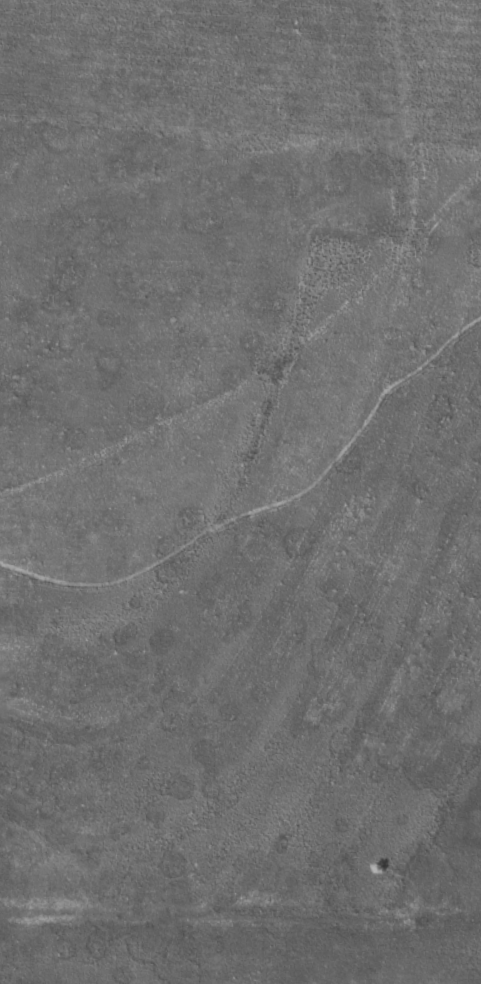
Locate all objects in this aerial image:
road: (240, 884)

